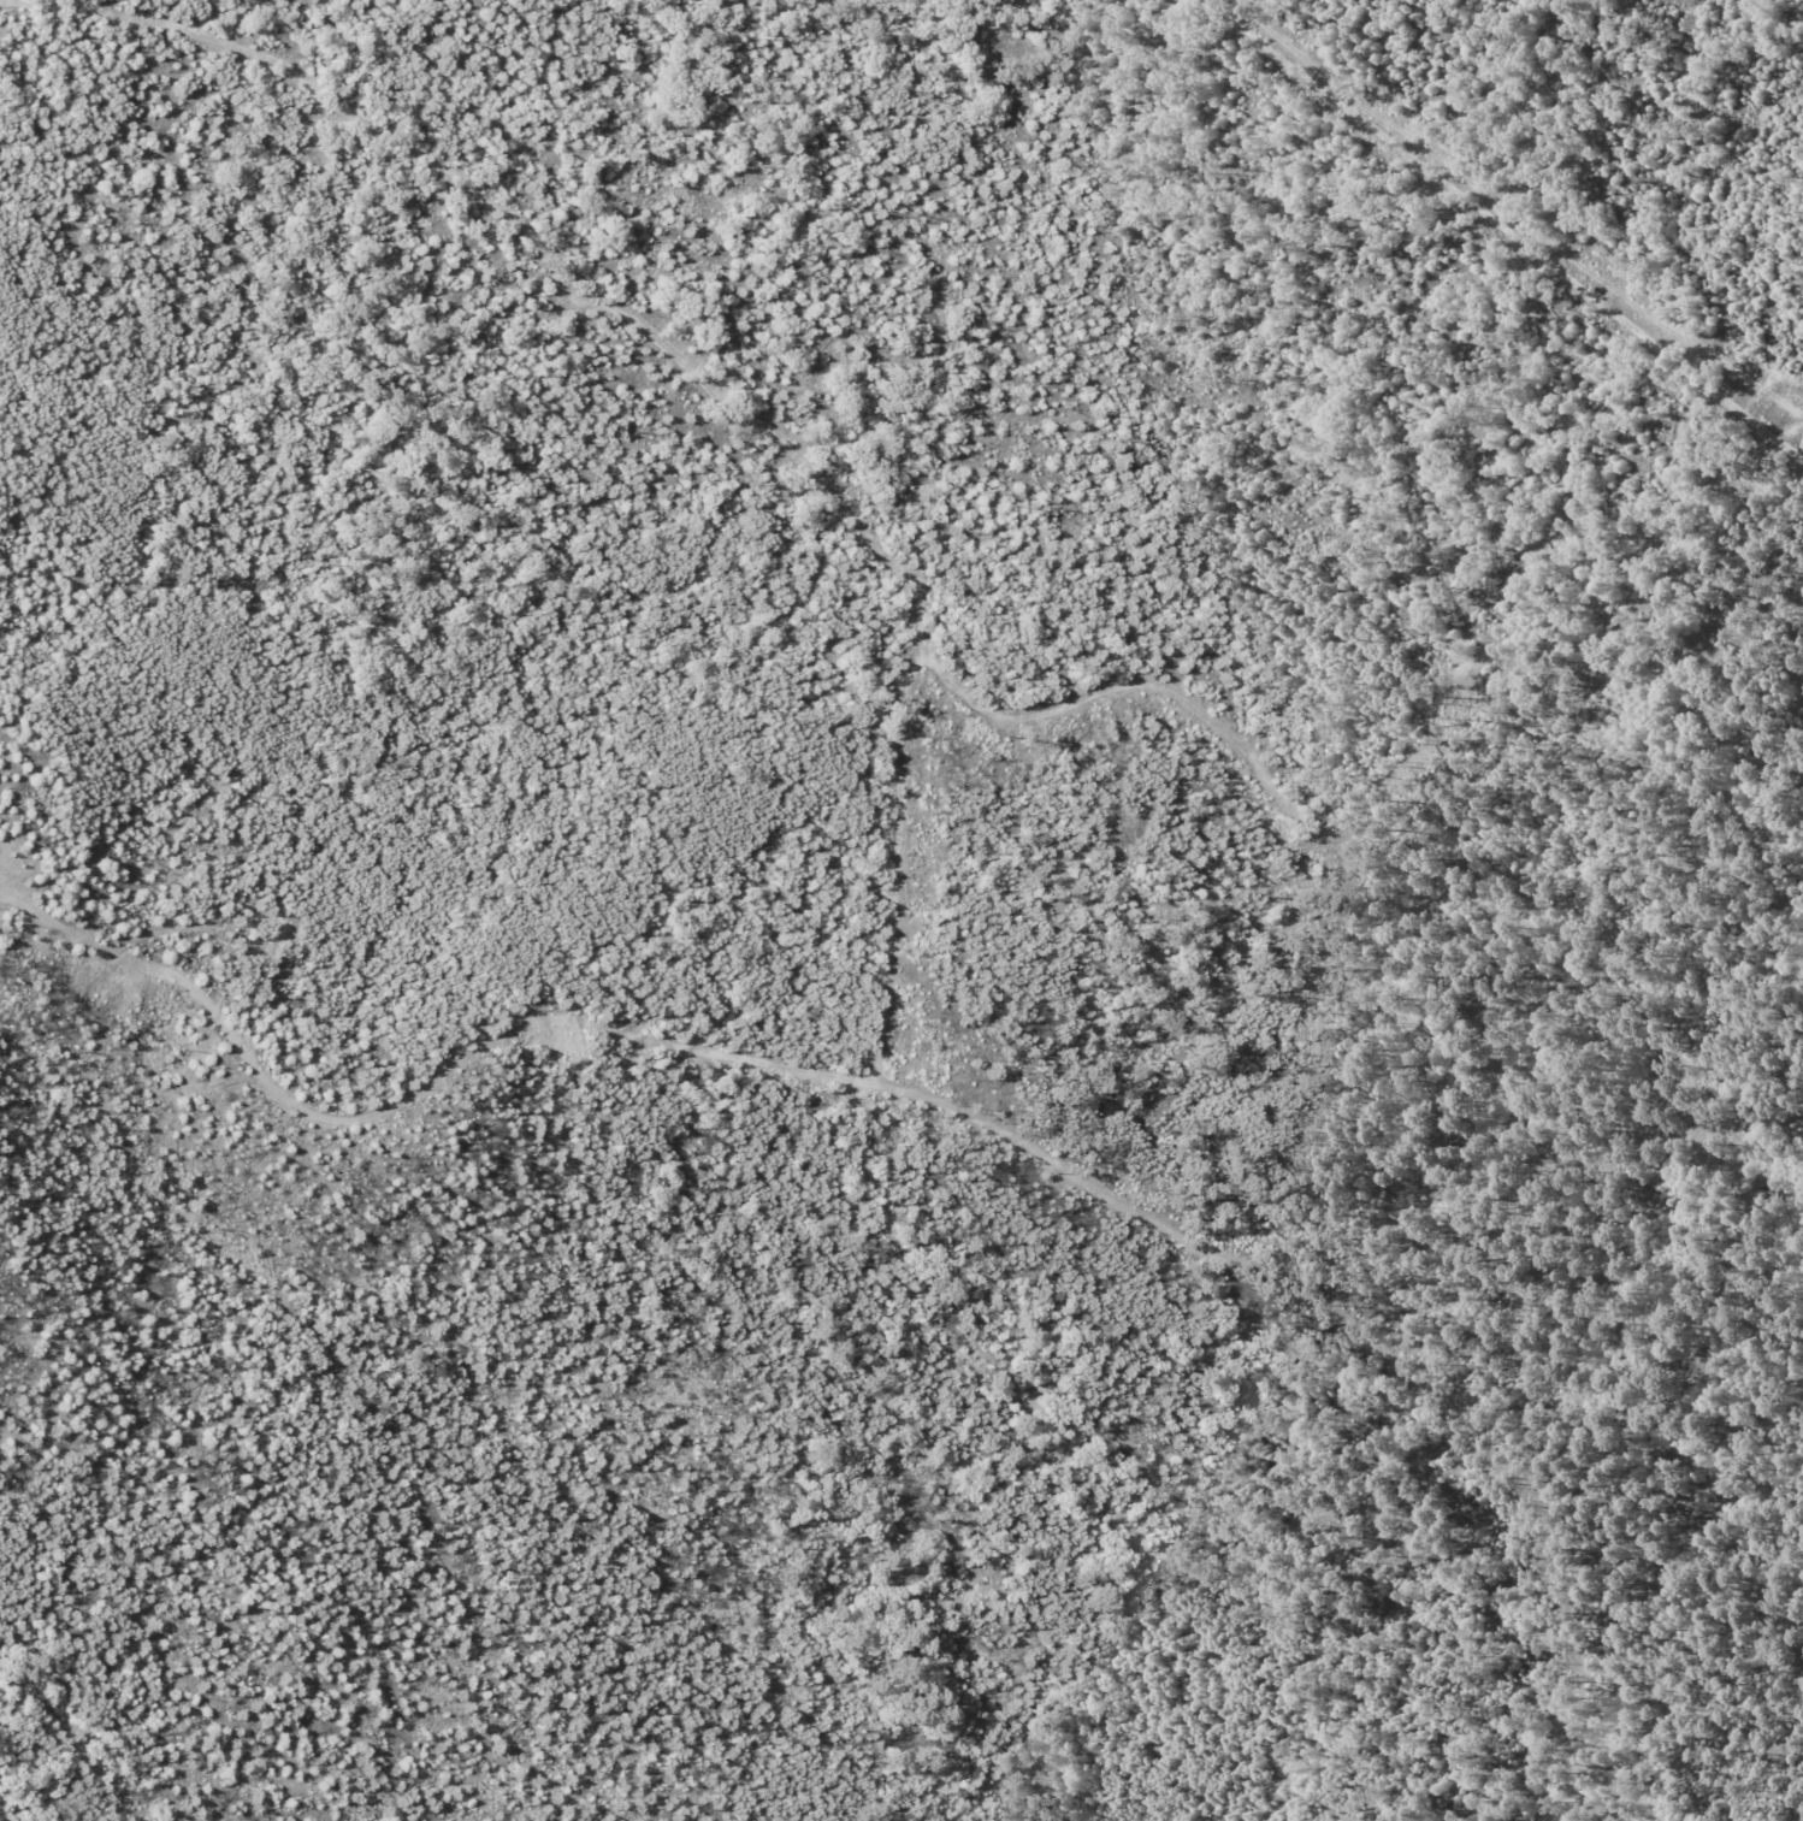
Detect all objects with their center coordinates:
park: (874, 939)

